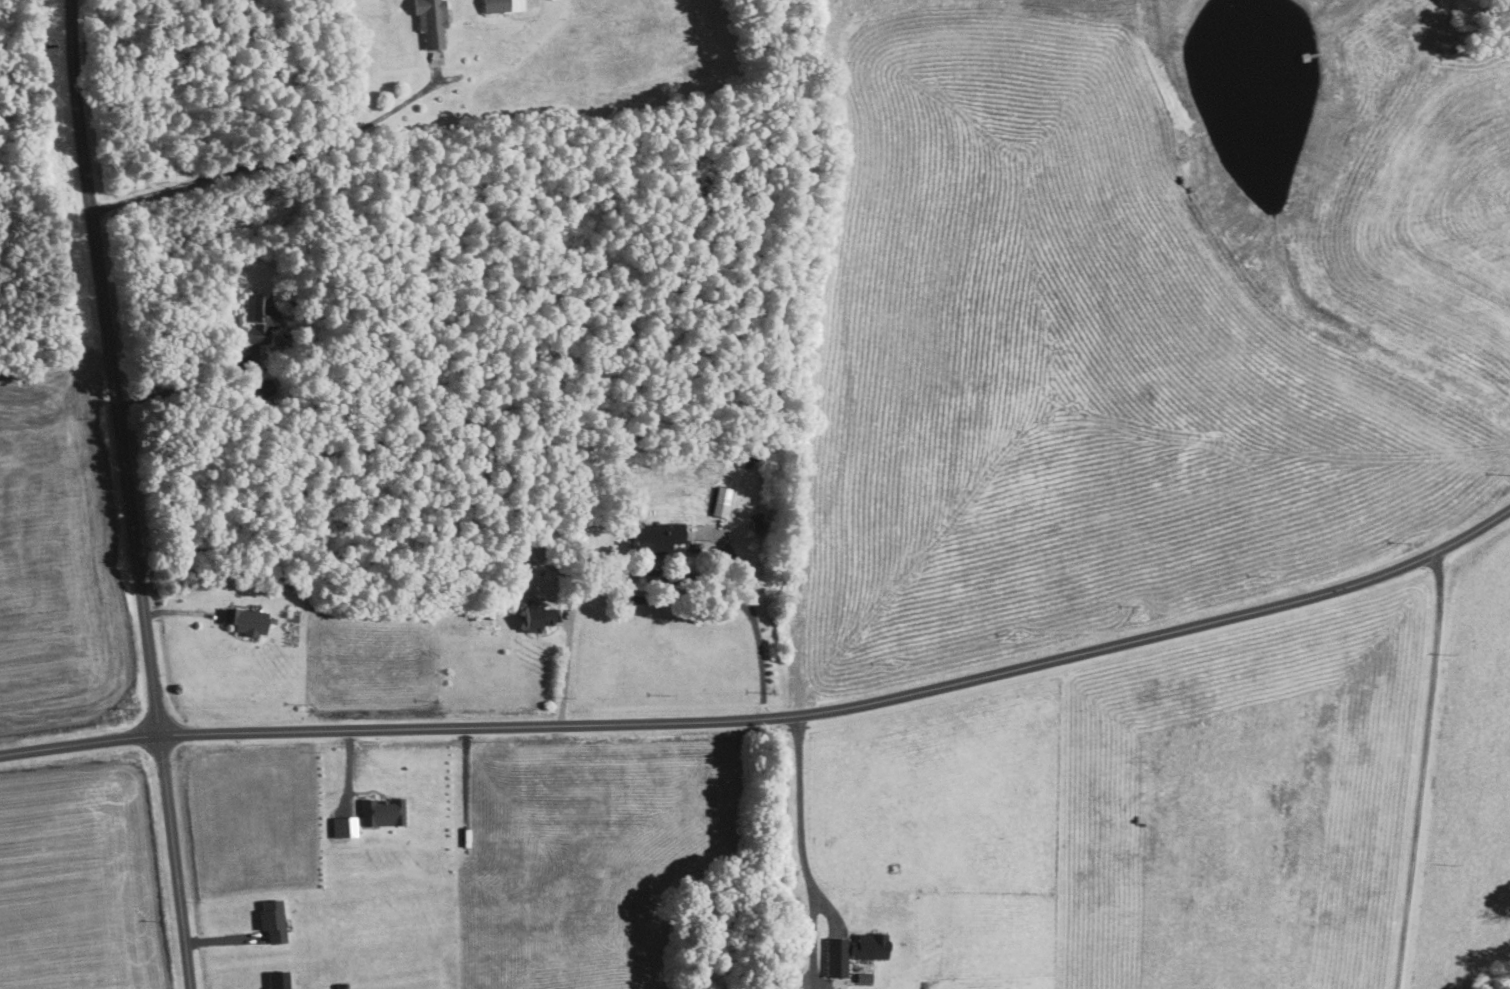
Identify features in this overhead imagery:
building: (494, 5)
building: (432, 22)
road: (269, 159)
building: (259, 318)
road: (177, 388)
road: (129, 494)
building: (722, 502)
building: (658, 538)
road: (752, 616)
building: (539, 618)
building: (248, 621)
road: (564, 673)
road: (771, 719)
road: (1423, 771)
building: (383, 812)
road: (801, 853)
building: (273, 920)
building: (854, 952)
building: (279, 980)

